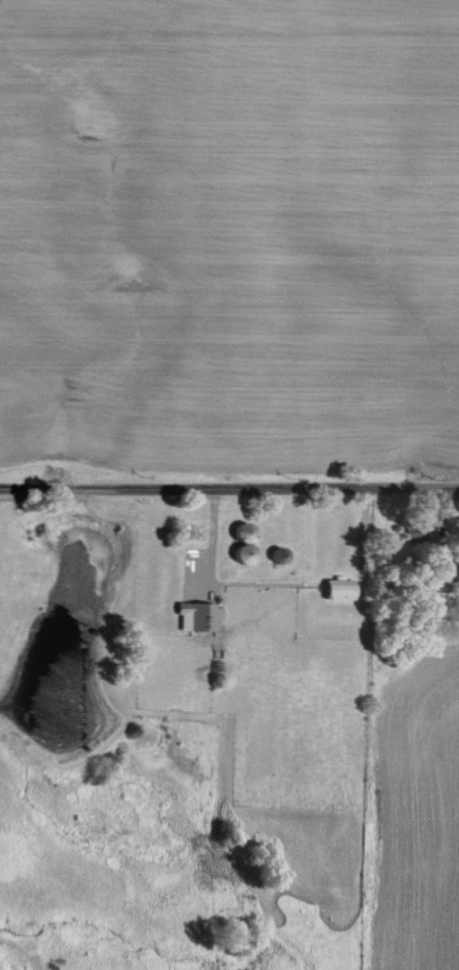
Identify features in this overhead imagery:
road: (229, 492)
building: (239, 542)
building: (442, 581)
building: (335, 587)
building: (193, 615)

